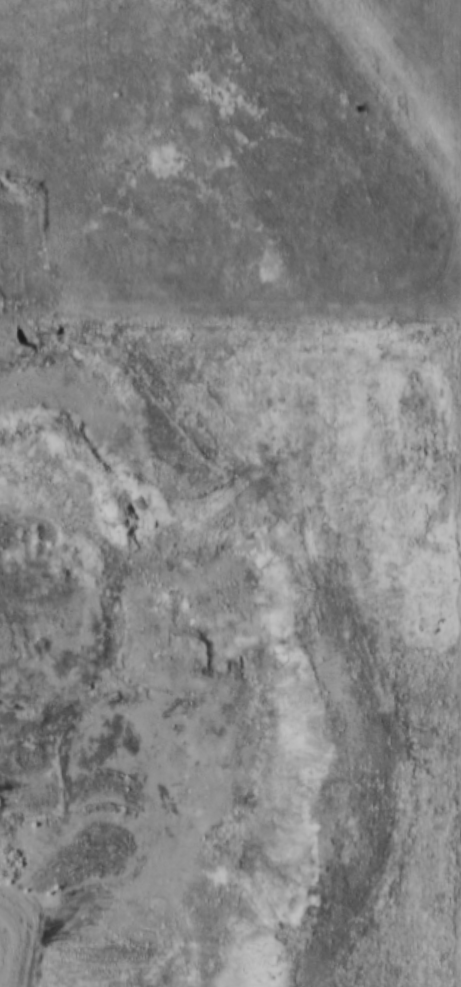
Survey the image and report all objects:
building: (456, 731)

